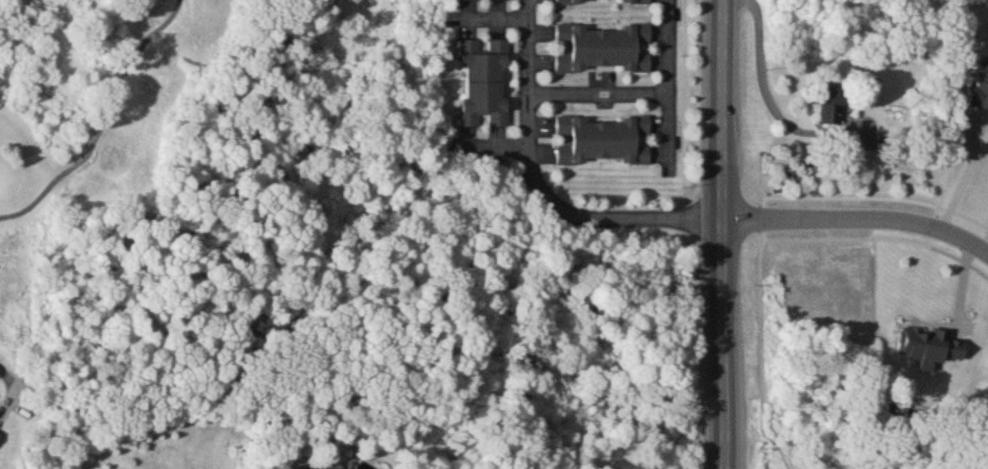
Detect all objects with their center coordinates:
building: (499, 0)
building: (598, 1)
road: (490, 18)
building: (605, 49)
building: (485, 83)
road: (670, 87)
road: (600, 92)
building: (832, 107)
park: (113, 110)
building: (603, 141)
road: (498, 149)
road: (967, 173)
road: (543, 189)
road: (858, 218)
road: (723, 234)
building: (0, 432)

